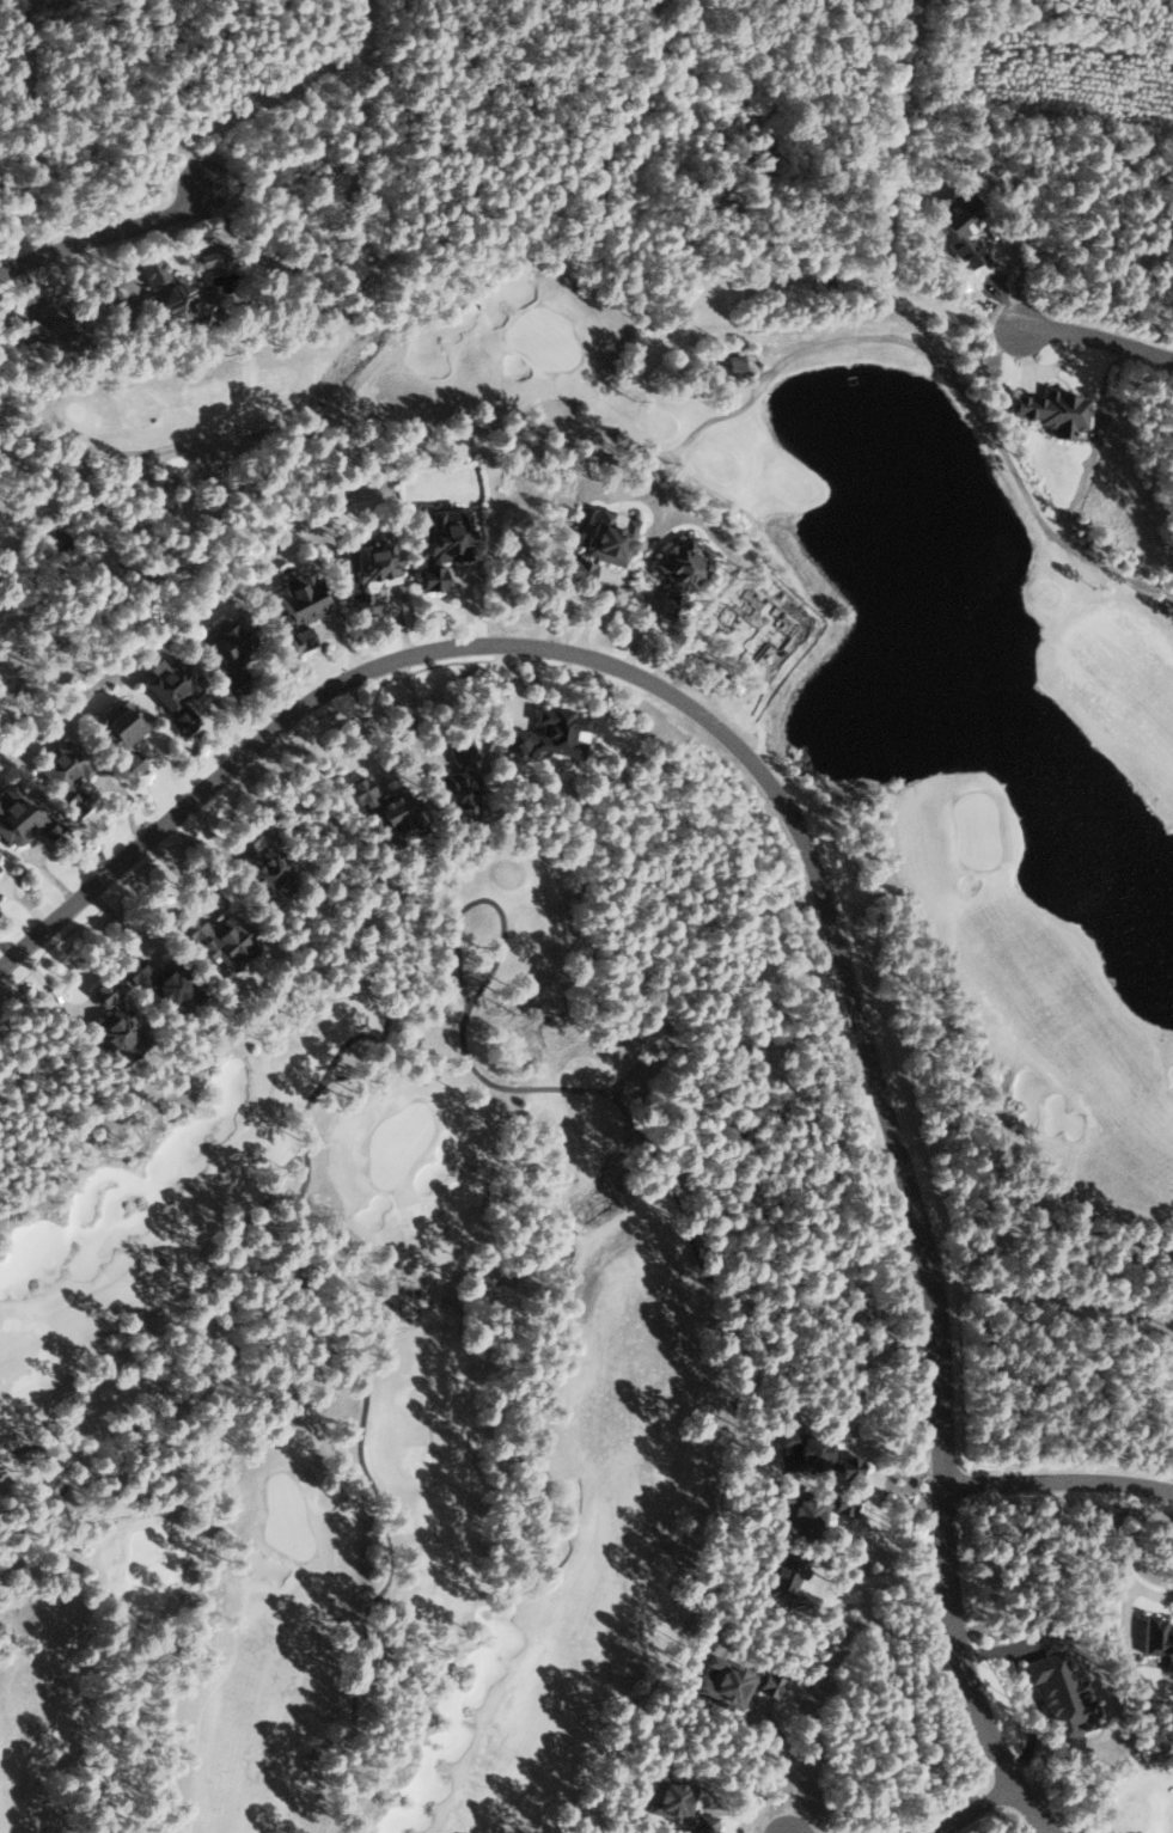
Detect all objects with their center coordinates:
road: (106, 236)
building: (213, 258)
building: (166, 291)
road: (1095, 338)
building: (732, 362)
building: (1052, 410)
building: (442, 544)
building: (601, 544)
building: (678, 570)
building: (371, 573)
building: (298, 598)
building: (297, 640)
building: (227, 653)
building: (170, 689)
building: (120, 732)
building: (549, 733)
building: (62, 774)
building: (457, 787)
building: (383, 809)
building: (16, 815)
building: (50, 833)
building: (251, 835)
road: (808, 861)
building: (268, 875)
building: (219, 939)
building: (157, 984)
building: (114, 1025)
park: (552, 1062)
building: (804, 1450)
building: (847, 1466)
road: (1056, 1480)
building: (842, 1502)
building: (798, 1511)
building: (786, 1581)
building: (1157, 1638)
building: (722, 1681)
building: (768, 1684)
building: (1059, 1693)
park: (1137, 1797)
building: (677, 1802)
road: (975, 1810)

